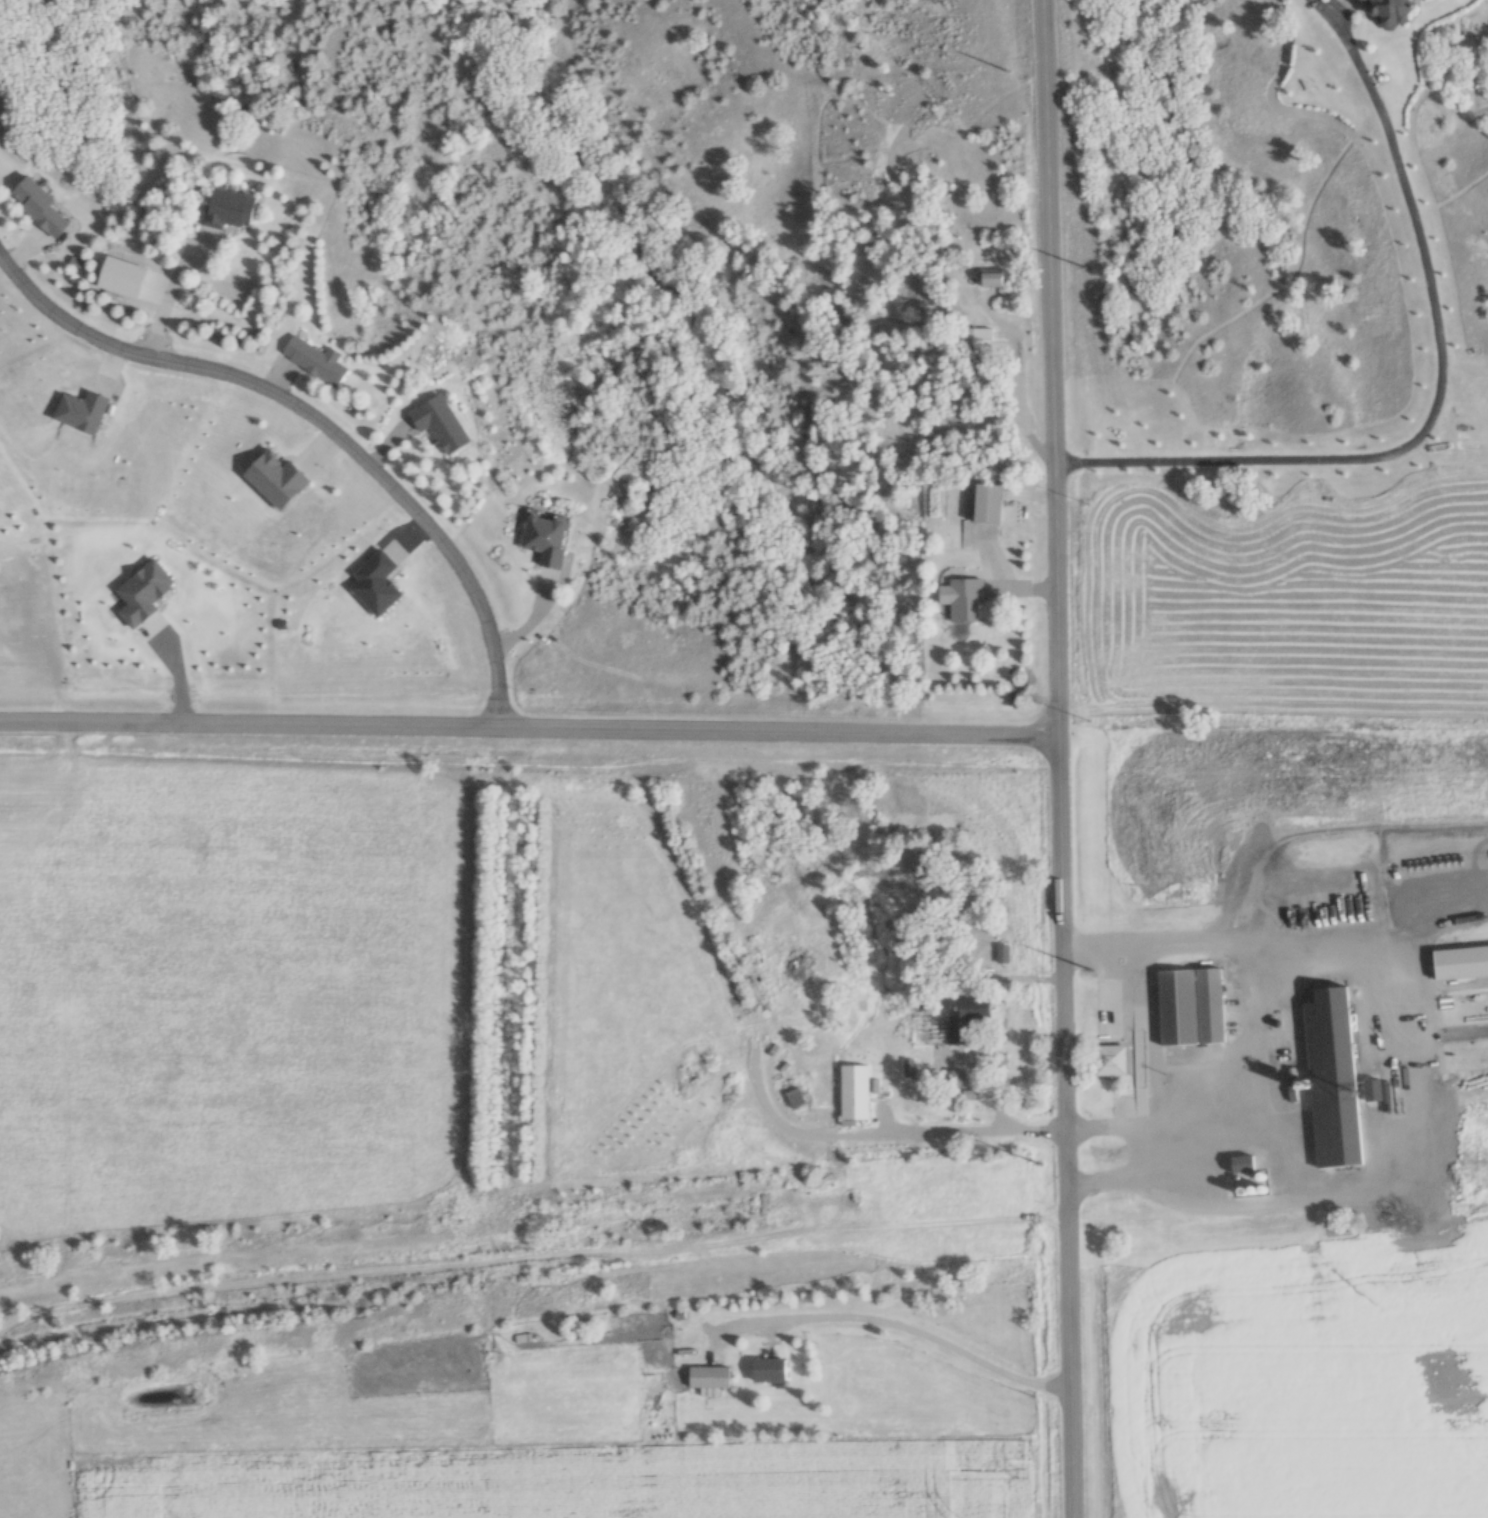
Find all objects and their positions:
building: (1382, 11)
building: (233, 207)
building: (44, 208)
road: (977, 247)
building: (124, 276)
building: (997, 278)
road: (177, 280)
building: (986, 338)
building: (317, 360)
road: (1043, 402)
road: (1440, 402)
road: (316, 418)
building: (444, 424)
building: (989, 501)
building: (550, 539)
building: (969, 600)
road: (545, 605)
road: (531, 725)
road: (1063, 758)
building: (1005, 955)
building: (1461, 961)
building: (1178, 1005)
building: (974, 1008)
building: (1103, 1061)
building: (1329, 1078)
building: (885, 1087)
building: (853, 1090)
building: (1369, 1091)
building: (798, 1098)
road: (1112, 1122)
building: (1238, 1165)
road: (1153, 1172)
road: (928, 1331)
building: (772, 1369)
building: (712, 1376)
crop: (1303, 1382)

